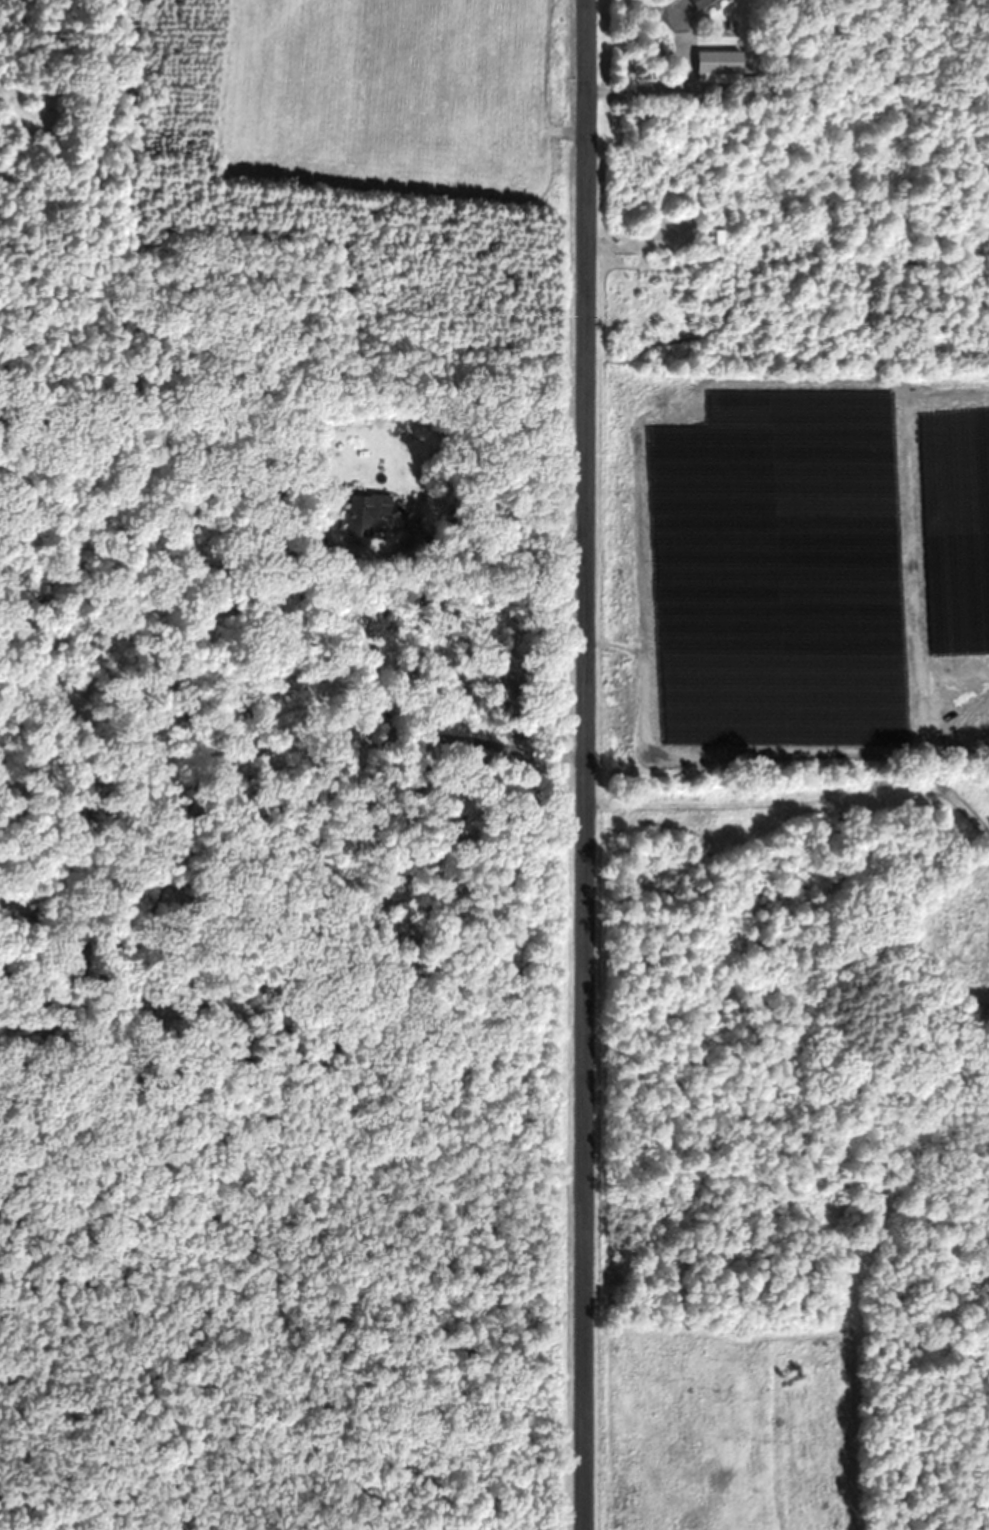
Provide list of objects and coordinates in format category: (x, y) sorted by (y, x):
building: (702, 3)
building: (718, 66)
crop: (399, 100)
building: (721, 237)
building: (367, 511)
crop: (790, 603)
road: (586, 764)
crop: (966, 932)
crop: (730, 1427)

